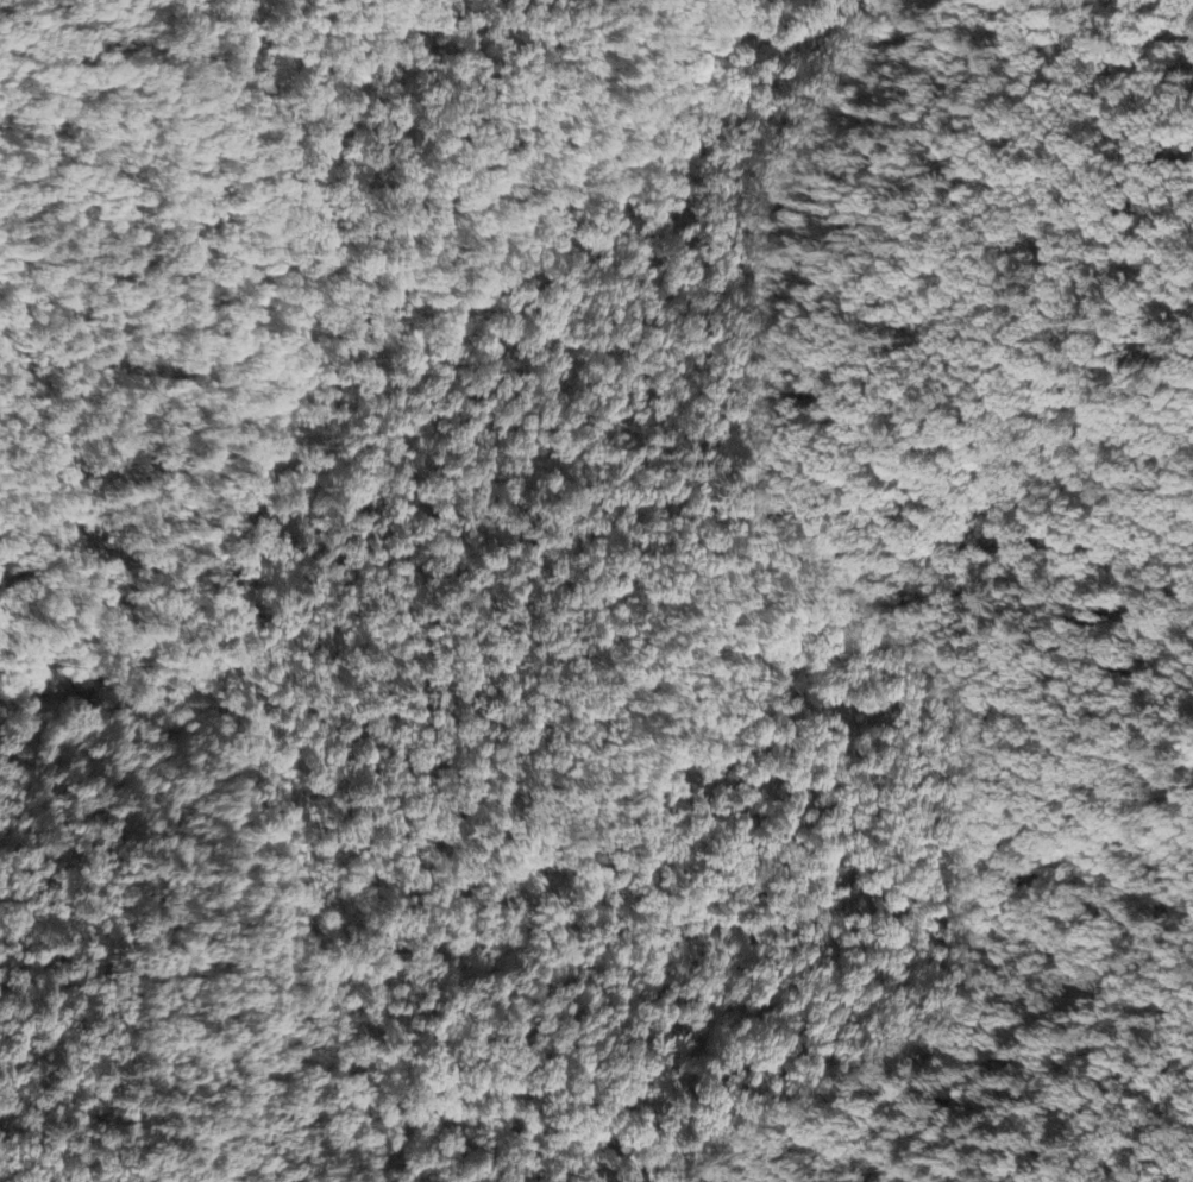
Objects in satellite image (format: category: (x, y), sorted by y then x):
road: (592, 38)
road: (118, 205)
road: (1047, 219)

